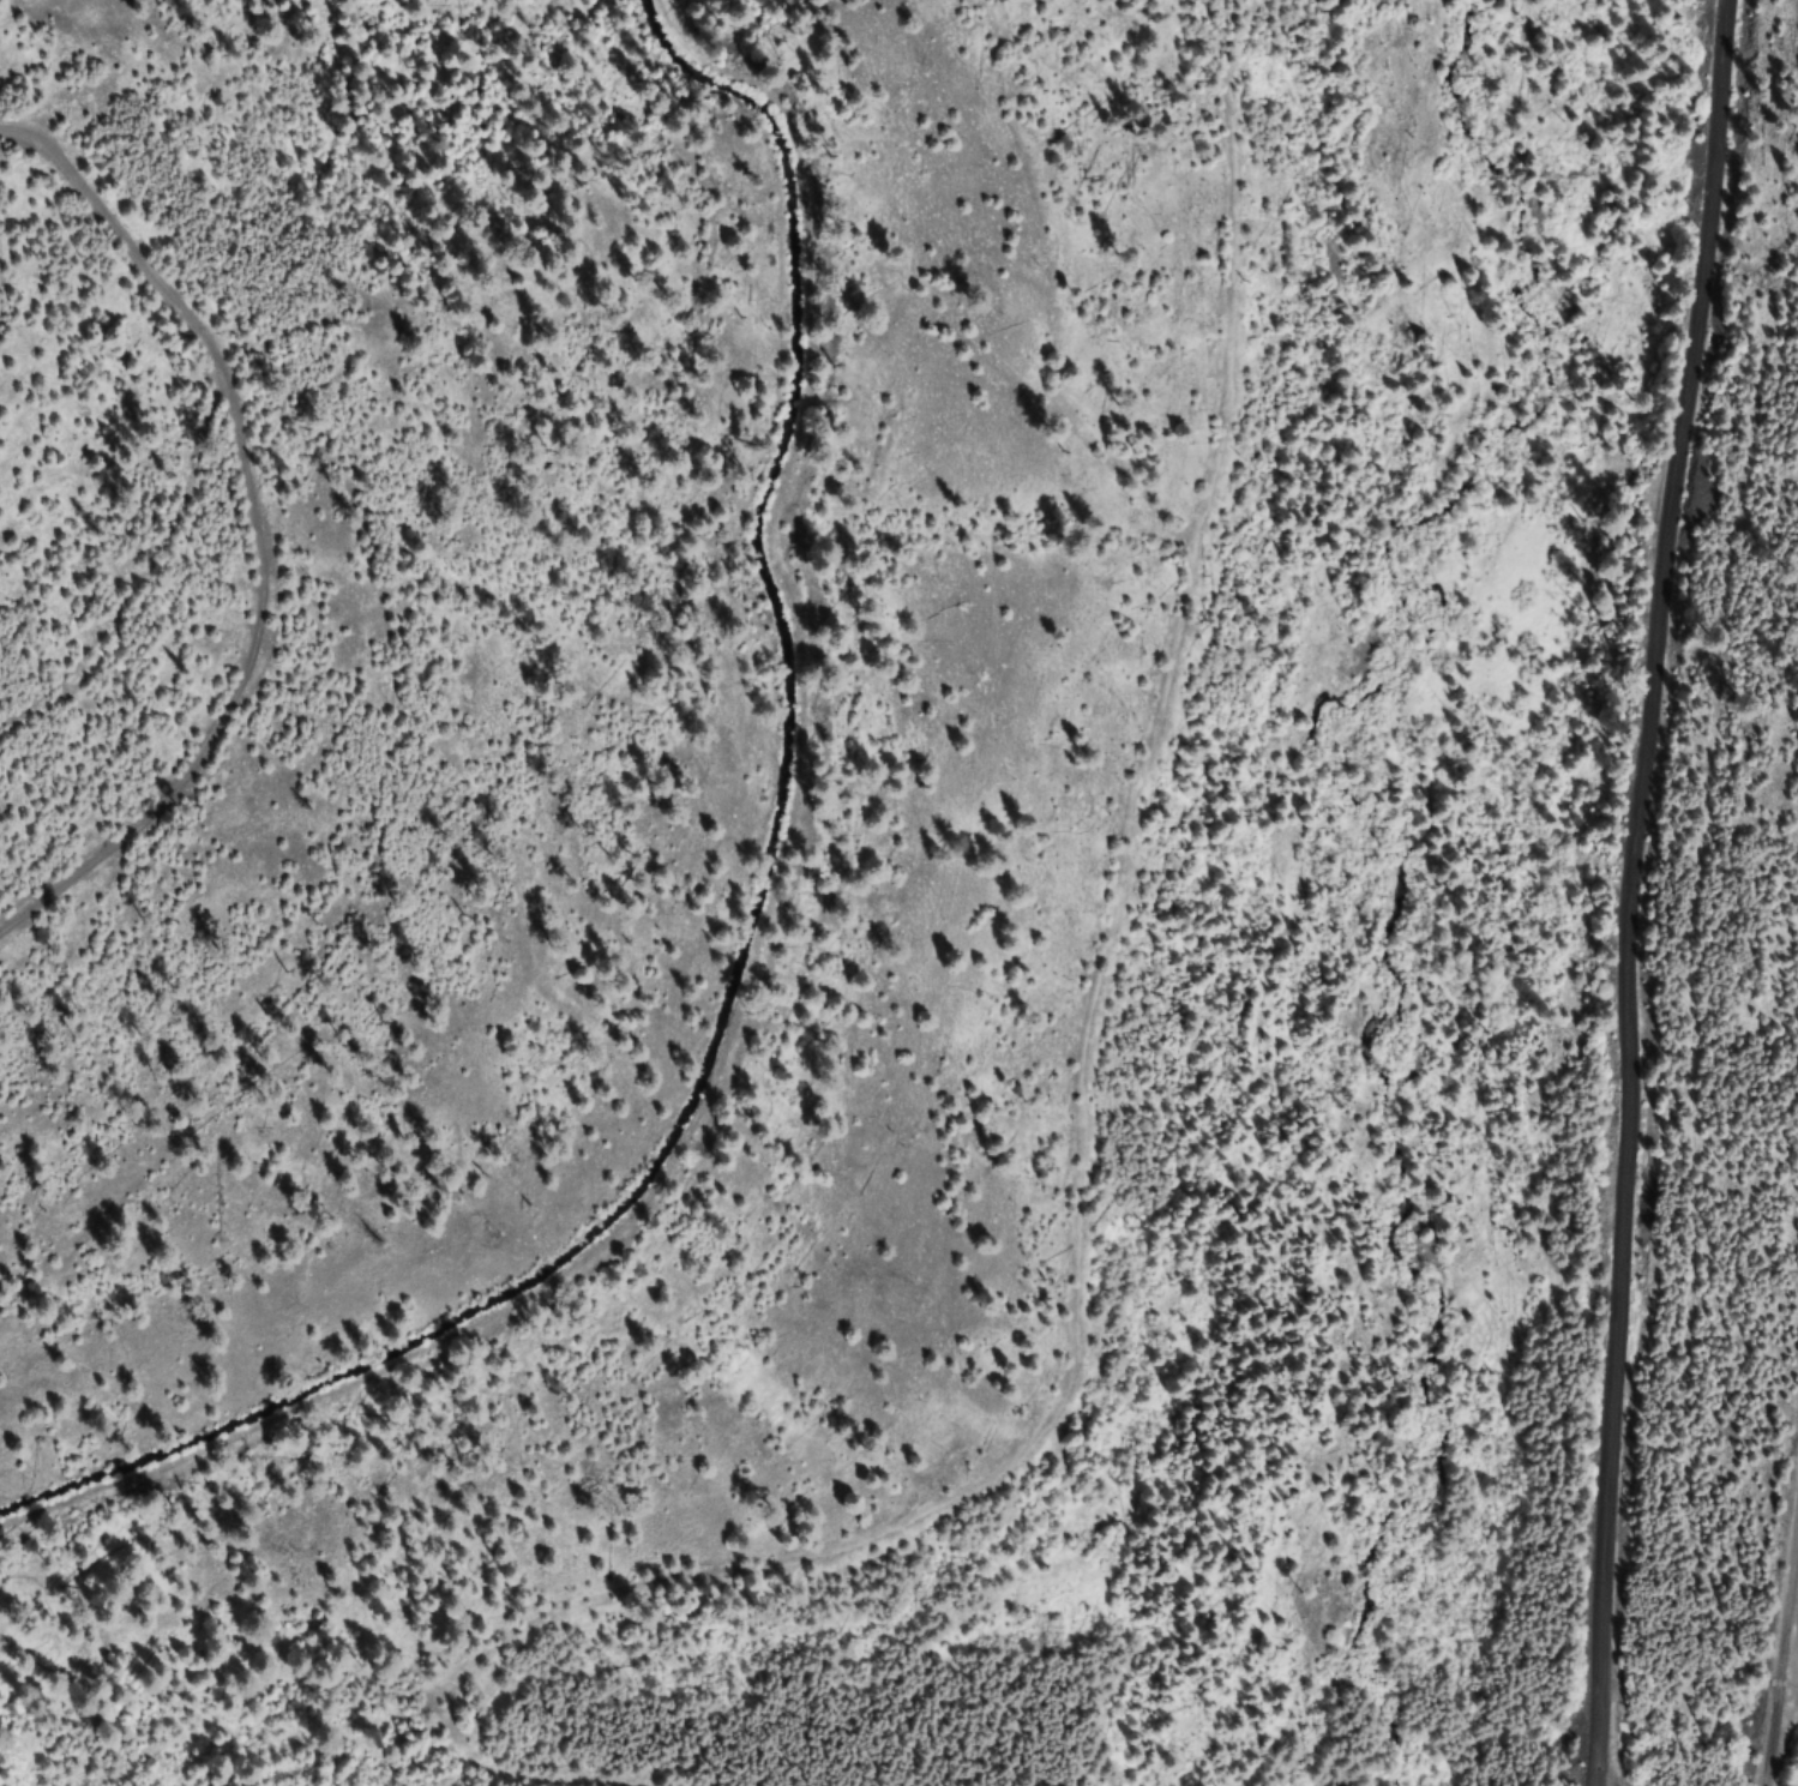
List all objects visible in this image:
road: (62, 53)
road: (263, 527)
road: (1602, 890)
road: (1168, 1026)
road: (1782, 1672)

